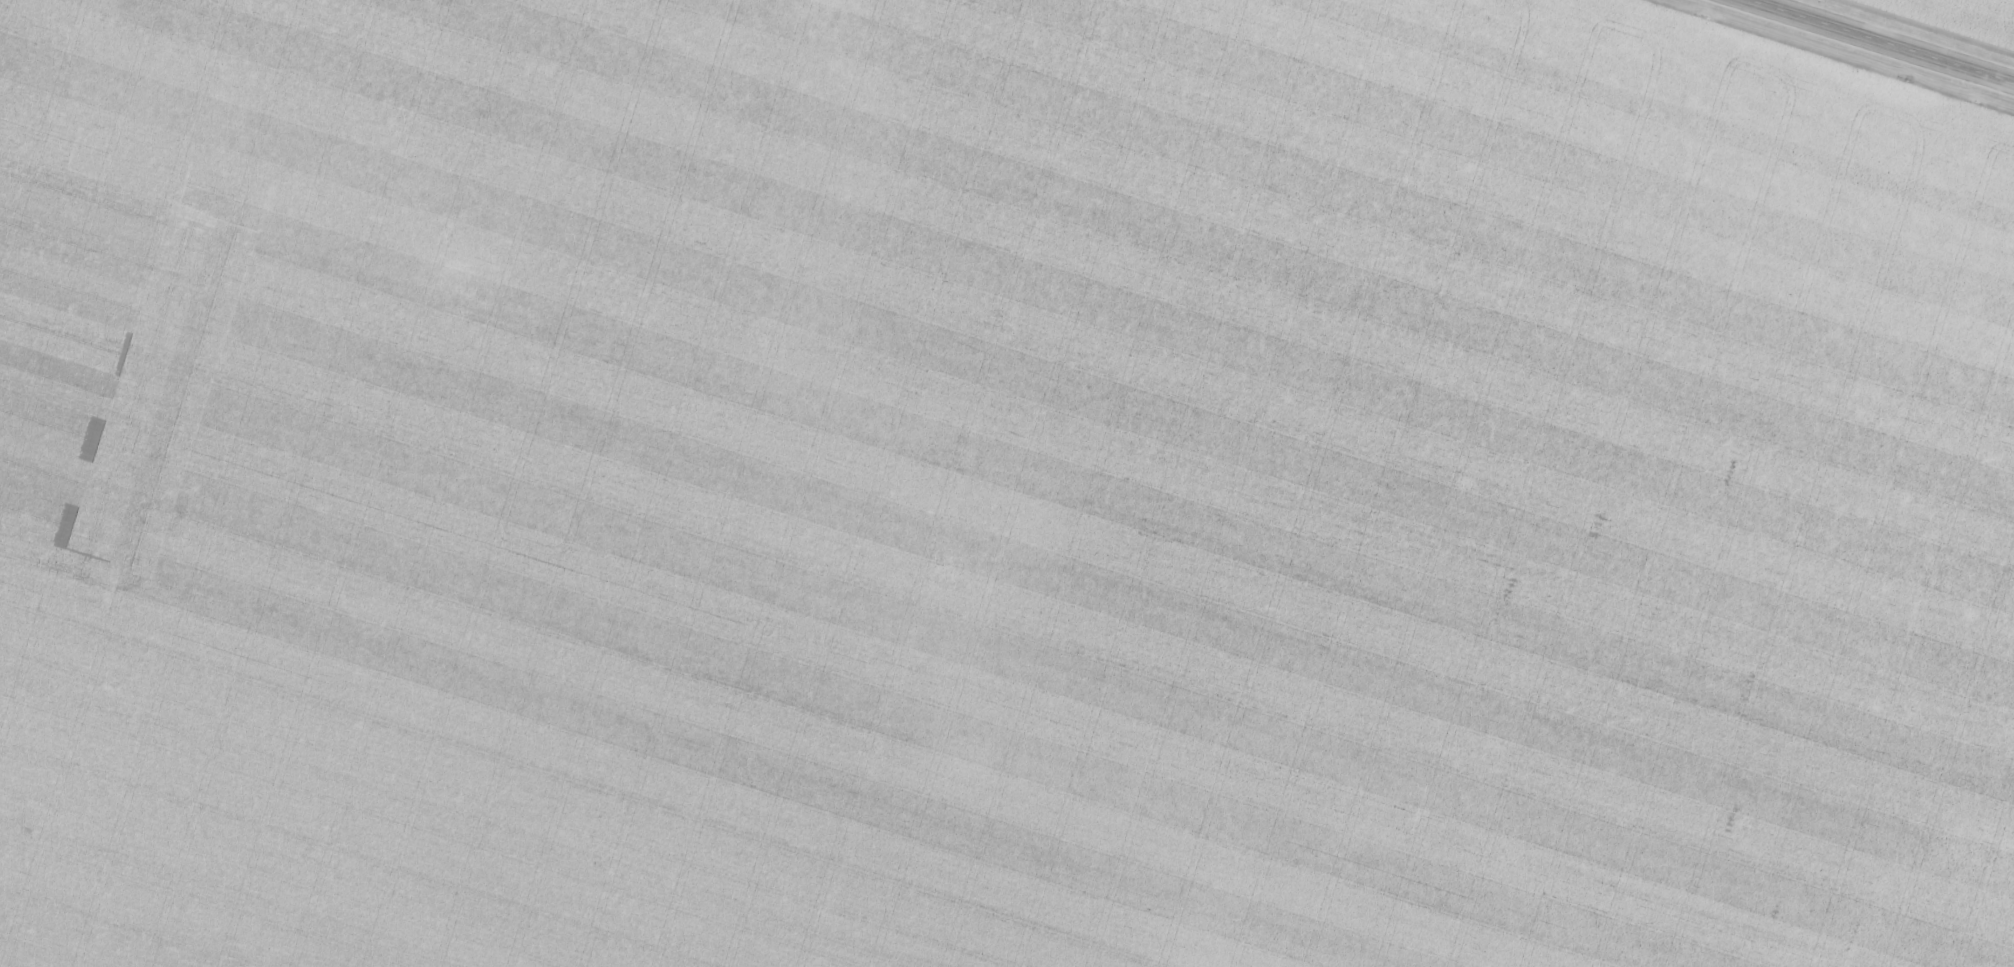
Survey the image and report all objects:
road: (1887, 39)

